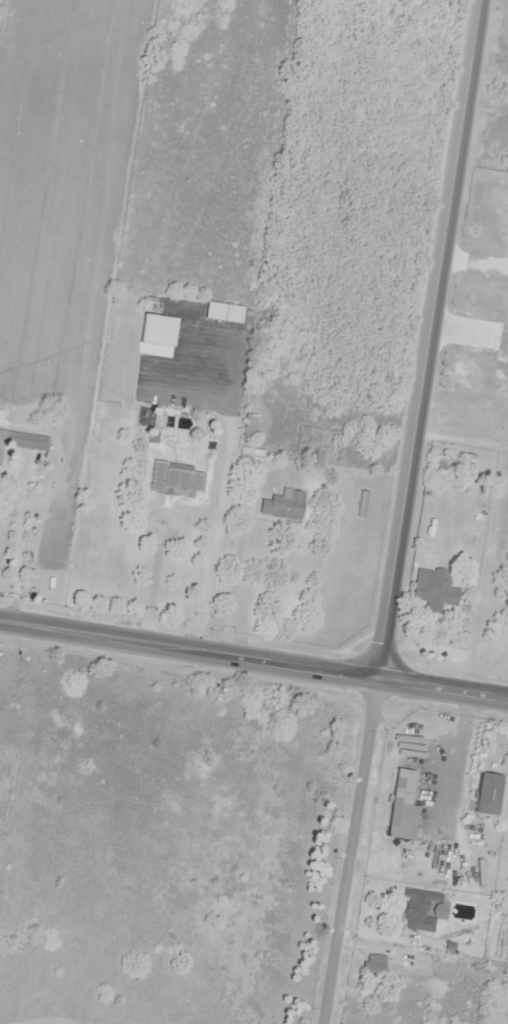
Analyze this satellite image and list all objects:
building: (224, 313)
building: (159, 334)
road: (428, 339)
building: (246, 425)
building: (22, 441)
building: (248, 452)
building: (173, 479)
building: (282, 504)
building: (433, 589)
road: (254, 660)
building: (484, 794)
building: (399, 807)
road: (348, 851)
building: (415, 911)
building: (373, 966)

